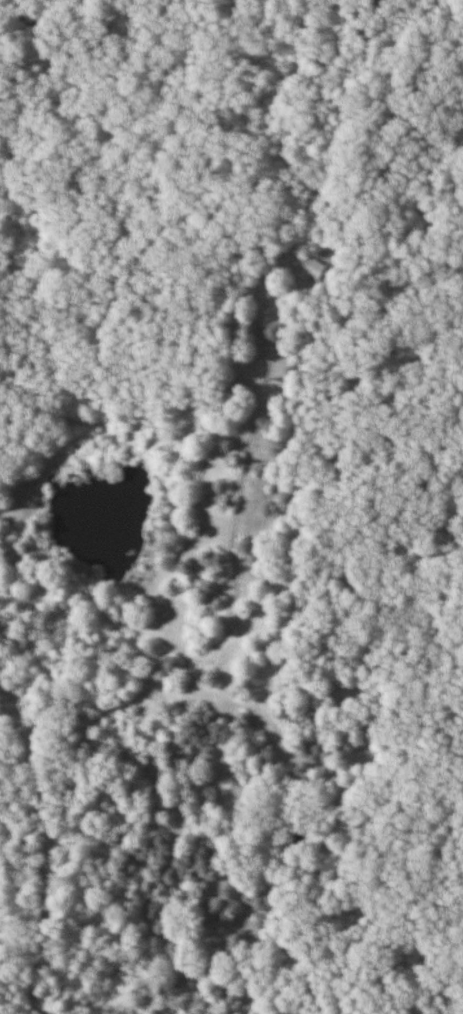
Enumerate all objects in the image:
building: (314, 270)
road: (11, 834)

